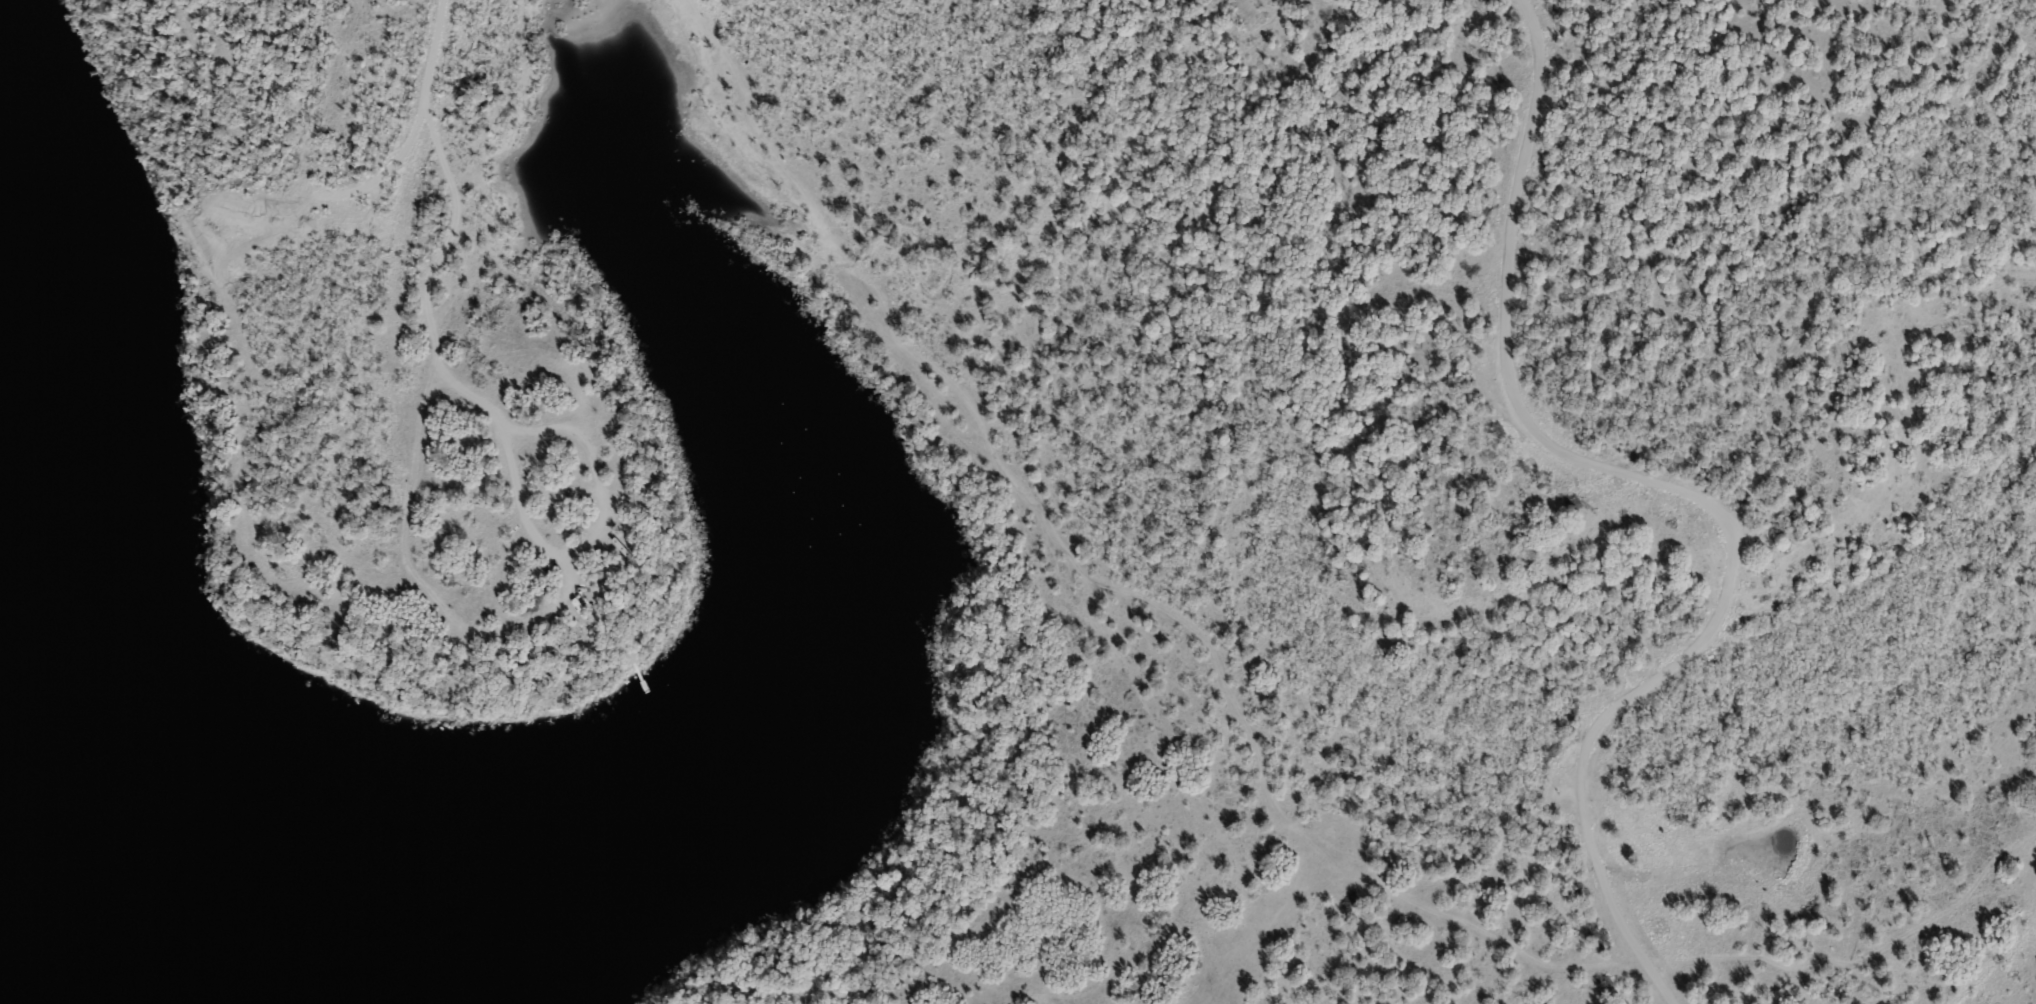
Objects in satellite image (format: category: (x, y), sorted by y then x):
road: (432, 85)
road: (1243, 725)

